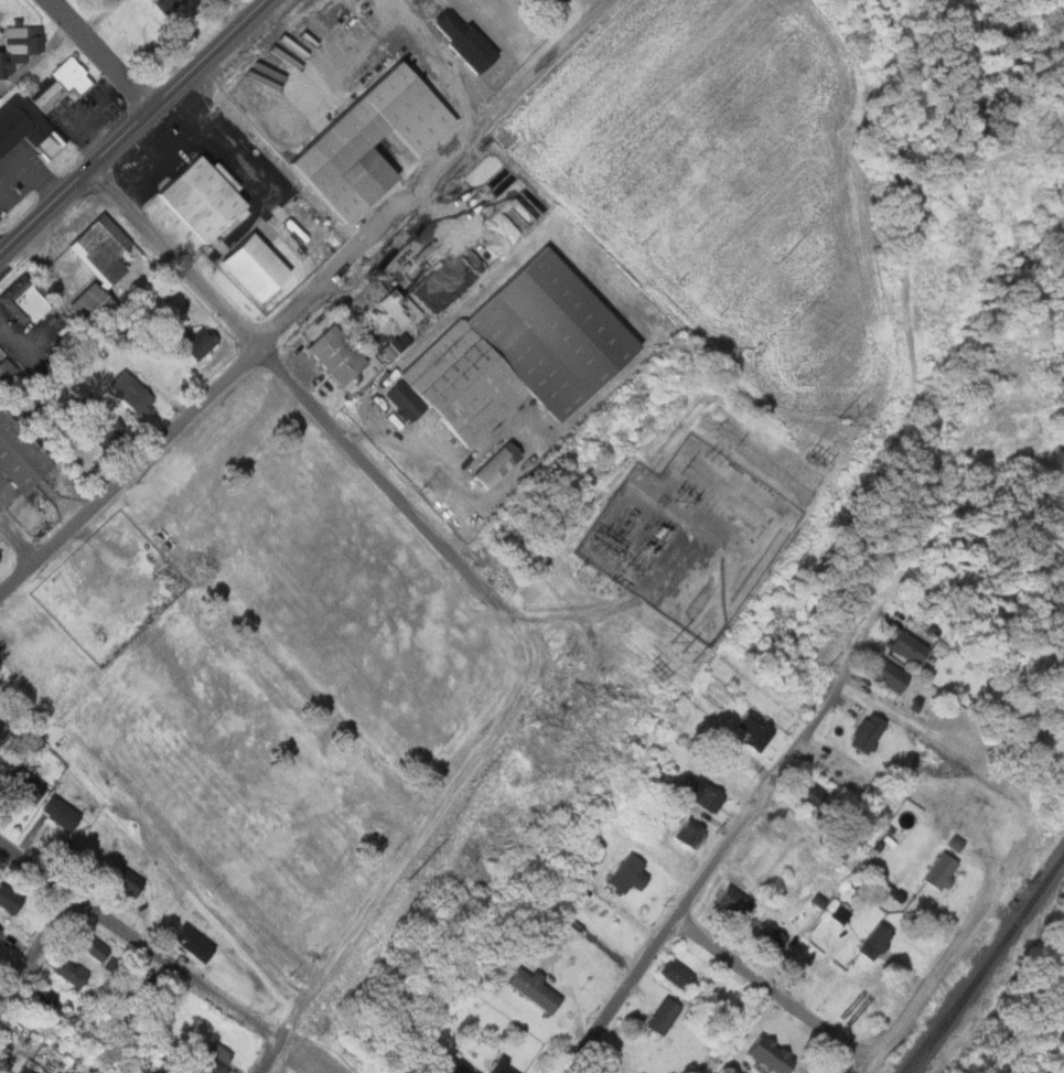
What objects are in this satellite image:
building: (169, 4)
building: (26, 39)
building: (469, 44)
road: (100, 54)
road: (432, 60)
building: (2, 65)
building: (63, 84)
road: (131, 125)
building: (28, 129)
power tower: (1043, 136)
building: (374, 142)
building: (204, 197)
building: (257, 266)
building: (103, 267)
building: (29, 298)
road: (305, 299)
building: (395, 308)
road: (238, 320)
building: (552, 334)
building: (193, 343)
building: (340, 353)
building: (7, 369)
building: (464, 384)
building: (131, 390)
building: (404, 403)
building: (107, 428)
building: (20, 451)
building: (497, 464)
power tower: (814, 475)
power tower: (778, 523)
power substation: (691, 535)
road: (18, 540)
building: (1, 557)
road: (479, 586)
building: (911, 645)
power tower: (685, 650)
building: (892, 674)
road: (512, 722)
building: (755, 727)
building: (1, 730)
building: (870, 731)
building: (22, 783)
building: (812, 792)
building: (708, 795)
building: (63, 813)
road: (733, 831)
building: (691, 833)
building: (943, 869)
railway: (1053, 870)
building: (631, 872)
power tower: (410, 878)
building: (131, 880)
building: (735, 901)
railway: (1028, 905)
road: (379, 909)
building: (836, 913)
building: (1, 935)
building: (878, 941)
road: (140, 943)
building: (195, 943)
building: (93, 945)
building: (773, 945)
road: (35, 951)
road: (957, 952)
building: (114, 967)
building: (72, 970)
building: (679, 974)
building: (537, 989)
road: (775, 992)
building: (139, 994)
road: (1002, 994)
building: (41, 998)
railway: (961, 998)
railway: (958, 999)
building: (667, 1015)
building: (71, 1052)
building: (774, 1053)
building: (214, 1060)
building: (499, 1065)
building: (460, 1067)
building: (25, 1070)

